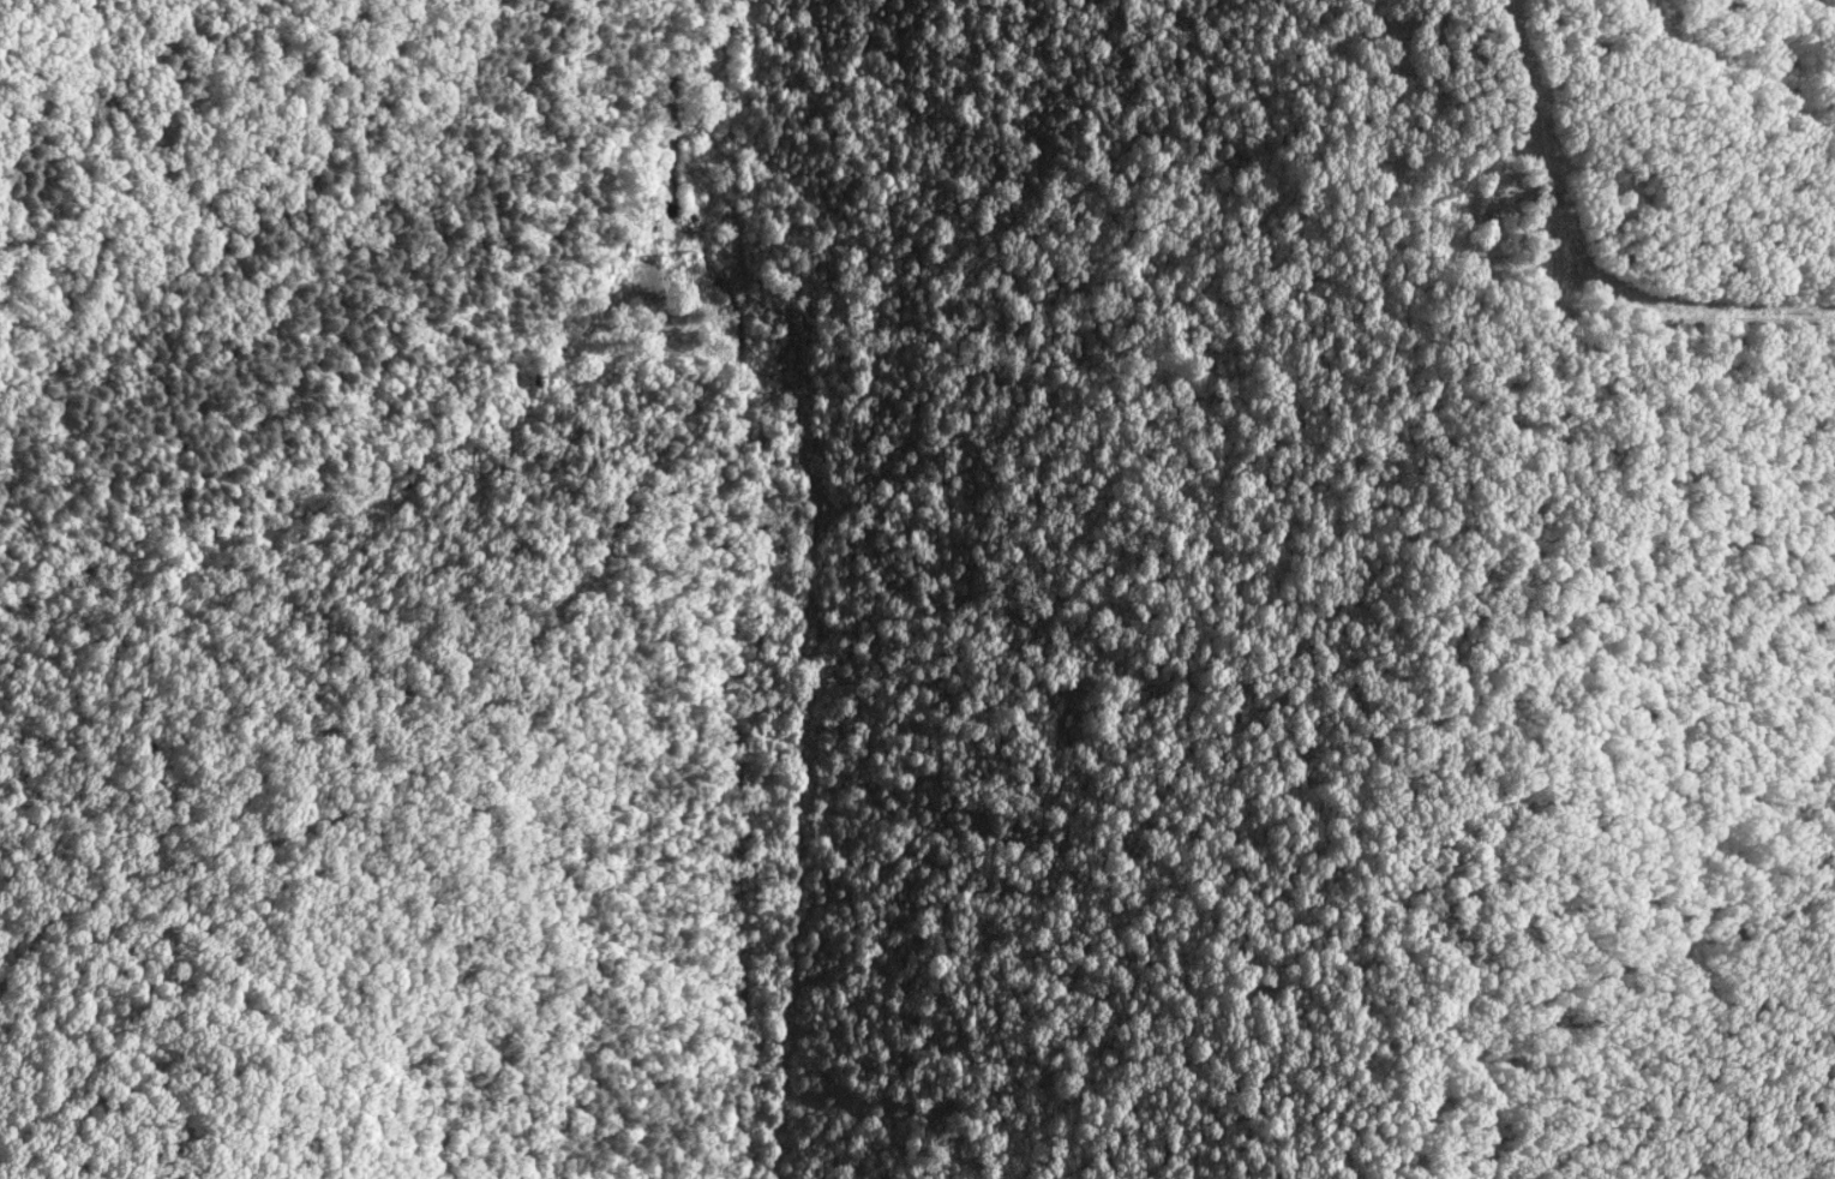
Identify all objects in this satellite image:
road: (1541, 155)
road: (1692, 322)

